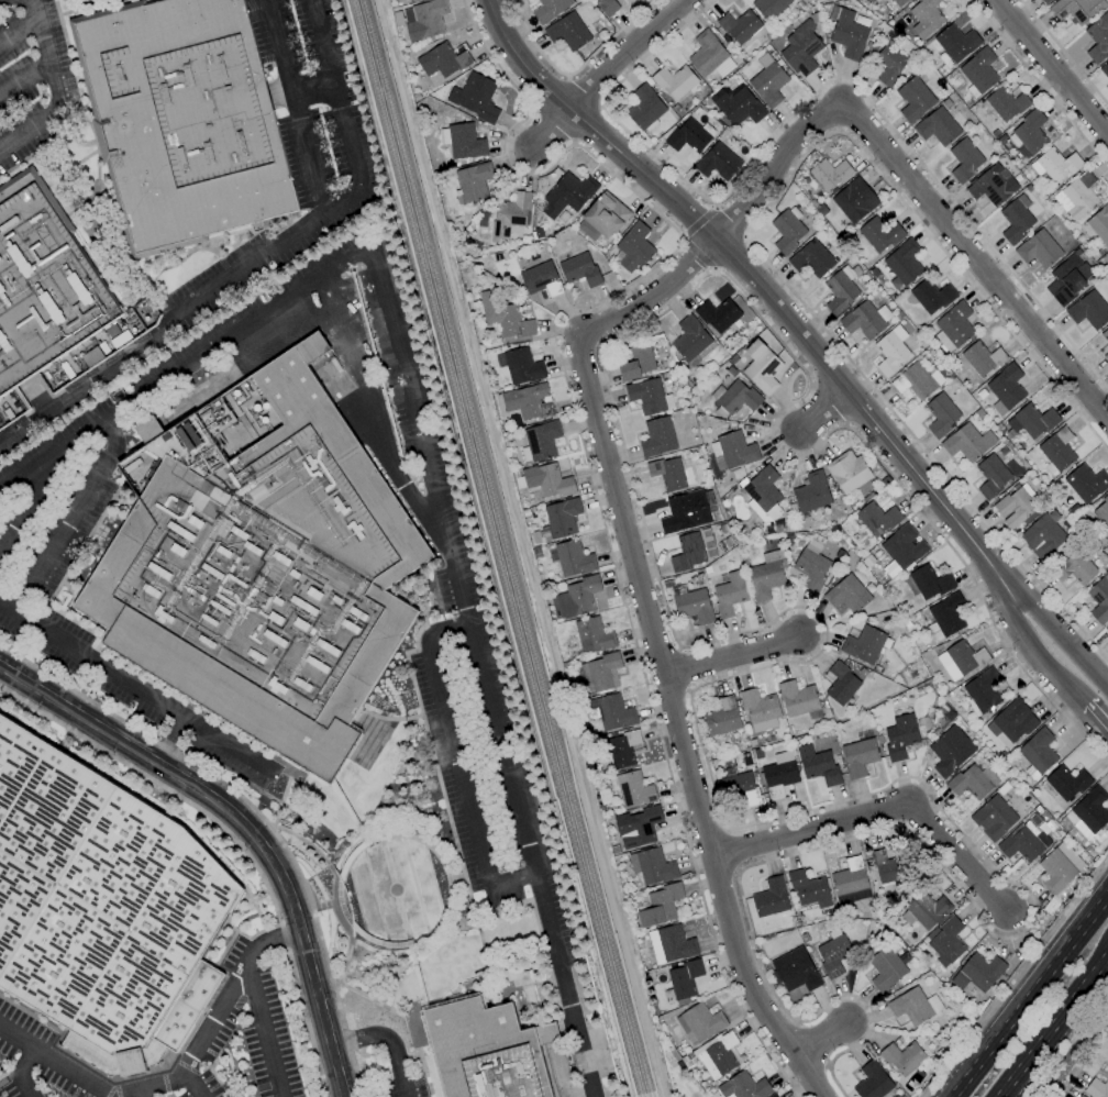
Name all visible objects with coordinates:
road: (1, 0)
building: (64, 0)
building: (409, 0)
building: (411, 0)
building: (880, 0)
building: (1045, 1)
building: (899, 2)
building: (607, 7)
building: (769, 7)
building: (550, 9)
building: (1077, 9)
building: (927, 18)
building: (422, 19)
building: (741, 26)
building: (568, 32)
road: (18, 33)
building: (849, 34)
building: (1098, 38)
building: (956, 42)
building: (801, 48)
road: (628, 53)
road: (1063, 53)
building: (710, 56)
road: (491, 57)
building: (444, 59)
building: (890, 65)
road: (1050, 67)
road: (574, 69)
building: (1104, 69)
building: (979, 73)
road: (23, 79)
building: (768, 80)
building: (675, 81)
road: (1039, 82)
road: (312, 86)
road: (53, 87)
road: (810, 97)
building: (476, 98)
building: (915, 99)
building: (1005, 103)
building: (738, 104)
road: (296, 106)
building: (645, 108)
building: (182, 120)
road: (552, 126)
building: (938, 126)
building: (1030, 133)
building: (445, 136)
building: (690, 136)
building: (465, 142)
building: (964, 160)
building: (719, 163)
building: (1055, 165)
building: (829, 174)
building: (474, 181)
building: (994, 185)
road: (915, 192)
building: (568, 195)
building: (458, 197)
building: (1077, 197)
building: (855, 200)
building: (510, 214)
building: (607, 214)
building: (563, 218)
building: (1016, 220)
building: (1100, 224)
building: (588, 230)
building: (788, 230)
road: (749, 234)
building: (880, 234)
building: (384, 244)
building: (634, 247)
building: (1039, 250)
building: (812, 258)
road: (258, 259)
building: (905, 262)
building: (580, 270)
road: (749, 275)
building: (394, 279)
building: (541, 279)
building: (1068, 279)
building: (42, 282)
building: (840, 293)
building: (932, 296)
building: (401, 309)
building: (1089, 310)
building: (718, 314)
building: (506, 319)
building: (866, 320)
building: (375, 323)
building: (954, 328)
building: (1105, 335)
building: (693, 341)
building: (891, 351)
building: (1105, 352)
building: (983, 358)
building: (500, 362)
building: (636, 363)
building: (523, 366)
road: (185, 367)
building: (762, 367)
building: (917, 381)
building: (1007, 387)
building: (649, 396)
building: (734, 398)
building: (524, 400)
building: (545, 409)
road: (374, 410)
road: (820, 411)
building: (941, 415)
building: (1032, 421)
building: (657, 437)
building: (542, 440)
building: (967, 442)
building: (734, 450)
building: (1057, 451)
building: (525, 454)
building: (850, 473)
building: (669, 474)
building: (991, 476)
building: (547, 480)
building: (520, 483)
building: (1086, 483)
building: (812, 492)
building: (764, 495)
road: (30, 500)
road: (597, 503)
building: (1016, 508)
building: (682, 511)
building: (1103, 512)
road: (73, 518)
building: (561, 519)
building: (878, 519)
building: (535, 538)
building: (1045, 538)
railway: (492, 548)
railway: (503, 548)
building: (902, 550)
building: (696, 551)
building: (553, 556)
building: (574, 558)
building: (1075, 568)
building: (811, 569)
building: (767, 575)
building: (931, 581)
building: (730, 594)
building: (847, 595)
building: (579, 596)
building: (1099, 600)
building: (693, 605)
building: (945, 617)
building: (286, 619)
road: (1053, 629)
road: (1017, 633)
building: (594, 635)
building: (1107, 635)
road: (653, 643)
building: (864, 644)
road: (729, 655)
road: (813, 655)
building: (961, 660)
road: (481, 673)
building: (599, 674)
building: (841, 684)
road: (135, 687)
building: (983, 691)
road: (1073, 695)
building: (800, 700)
building: (760, 709)
building: (610, 712)
building: (722, 718)
road: (1096, 718)
building: (1012, 721)
building: (900, 736)
road: (171, 741)
building: (951, 749)
building: (621, 751)
building: (1038, 753)
building: (858, 756)
road: (458, 761)
building: (818, 765)
building: (799, 767)
building: (779, 774)
building: (973, 782)
building: (1066, 783)
building: (740, 786)
building: (633, 789)
building: (605, 796)
road: (255, 813)
road: (877, 813)
building: (994, 818)
building: (1087, 820)
road: (244, 825)
building: (641, 828)
road: (232, 838)
building: (1023, 843)
building: (652, 866)
building: (891, 869)
building: (1062, 871)
building: (851, 883)
building: (809, 889)
building: (771, 898)
building: (660, 905)
building: (928, 910)
building: (101, 911)
building: (945, 942)
building: (671, 944)
building: (834, 955)
building: (886, 968)
building: (796, 971)
building: (979, 973)
road: (1016, 977)
building: (685, 979)
road: (1029, 995)
building: (913, 1006)
road: (213, 1018)
building: (700, 1023)
road: (1052, 1024)
road: (263, 1030)
road: (820, 1038)
road: (387, 1039)
road: (1072, 1051)
building: (716, 1055)
building: (902, 1057)
road: (55, 1061)
road: (1082, 1062)
road: (20, 1072)
building: (873, 1082)
road: (193, 1083)
building: (744, 1087)
building: (1097, 1088)
road: (140, 1094)
building: (774, 1096)
building: (1078, 1096)
building: (1081, 1096)

